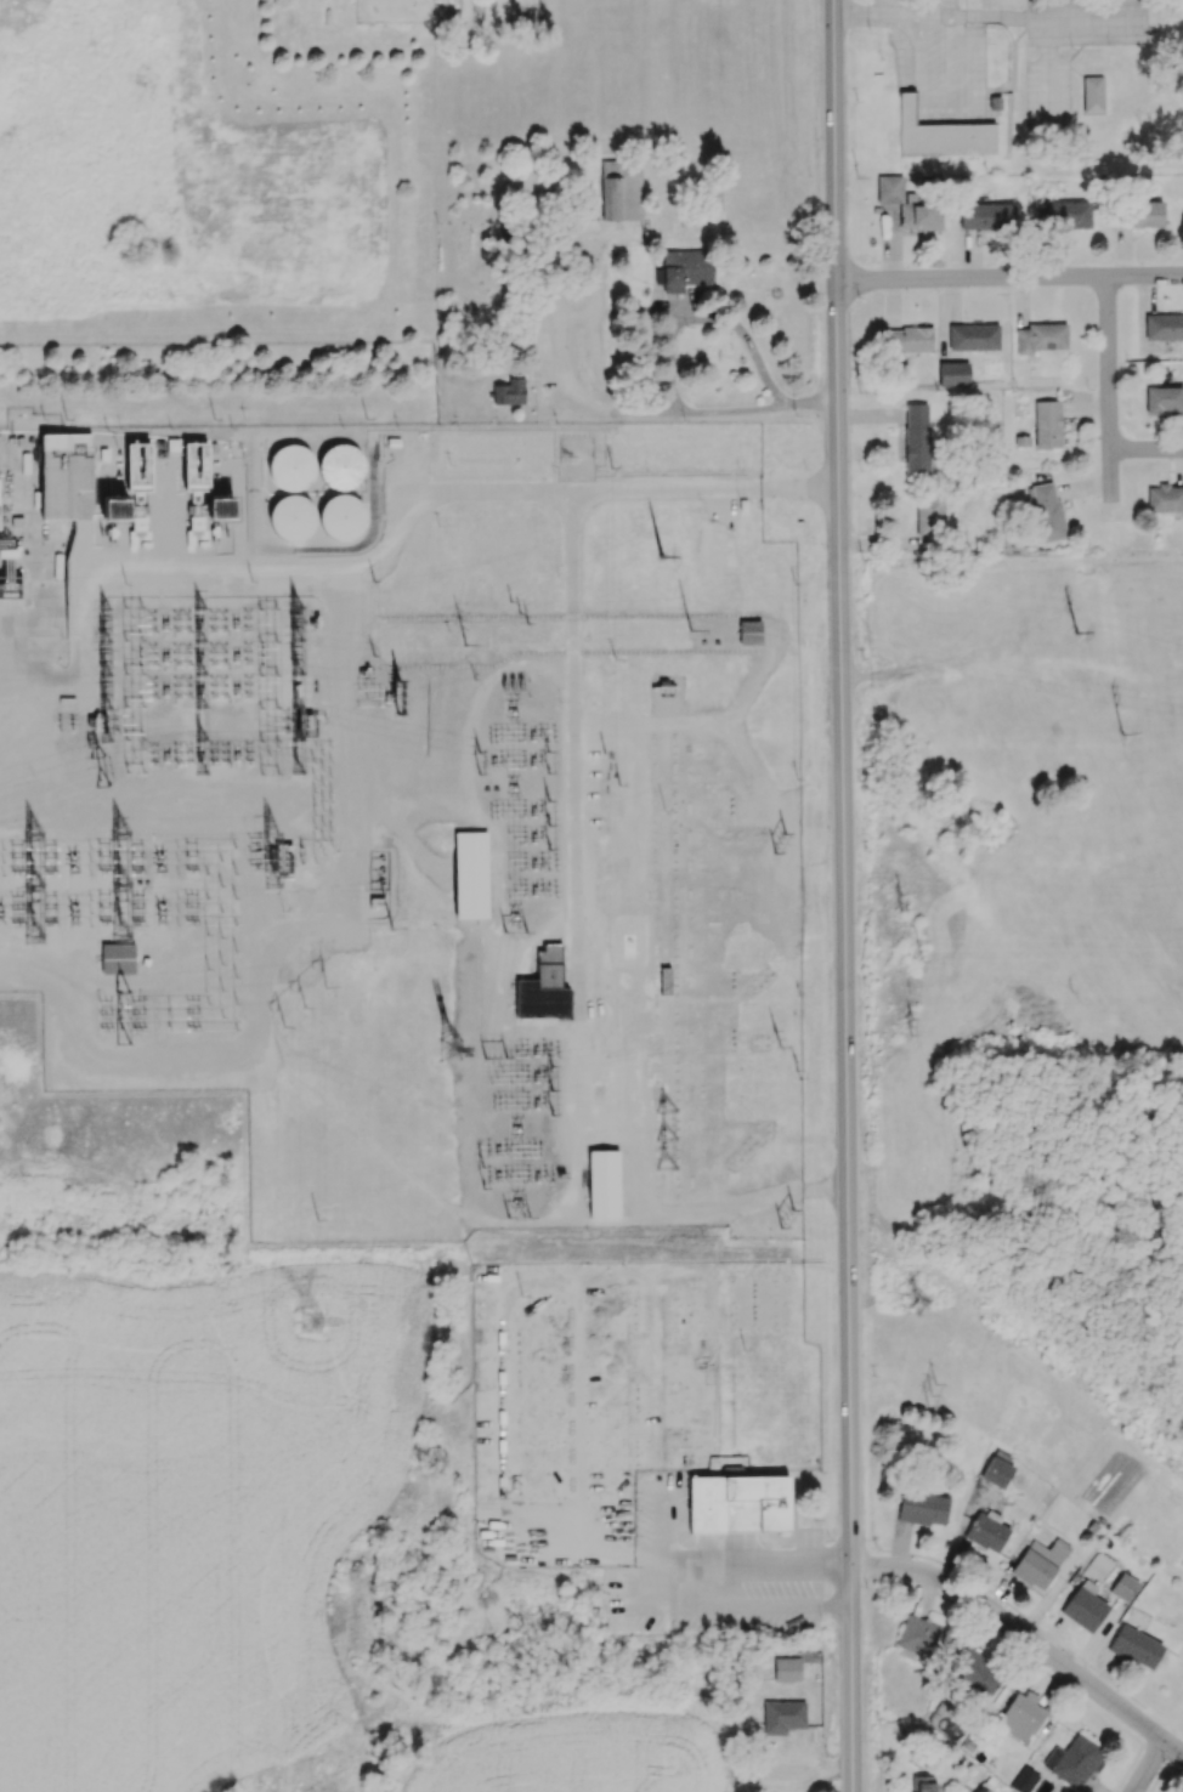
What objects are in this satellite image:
road: (989, 18)
building: (1092, 93)
building: (940, 134)
building: (621, 189)
building: (907, 204)
building: (1068, 214)
building: (1137, 215)
building: (986, 216)
building: (683, 270)
road: (1011, 280)
building: (1164, 327)
building: (973, 336)
building: (1041, 338)
building: (907, 339)
road: (669, 373)
building: (953, 374)
building: (509, 392)
building: (1162, 399)
road: (1110, 401)
road: (808, 409)
building: (1046, 424)
building: (916, 438)
road: (1147, 450)
building: (343, 465)
building: (194, 466)
building: (290, 467)
building: (63, 472)
building: (1164, 498)
road: (451, 499)
building: (219, 507)
building: (114, 509)
building: (1047, 512)
building: (290, 516)
building: (343, 516)
building: (929, 520)
building: (6, 548)
power tower: (664, 557)
power tower: (525, 614)
power tower: (691, 630)
building: (749, 633)
power tower: (1082, 635)
power tower: (465, 645)
power tower: (1121, 735)
power substation: (343, 817)
power tower: (787, 843)
building: (470, 874)
road: (845, 895)
power tower: (906, 901)
power tower: (390, 931)
power tower: (921, 952)
building: (117, 957)
road: (584, 966)
building: (543, 987)
power tower: (304, 1003)
power tower: (918, 1030)
power tower: (451, 1054)
power tower: (800, 1066)
power tower: (799, 1220)
power tower: (526, 1302)
power tower: (919, 1304)
power tower: (315, 1323)
power tower: (752, 1351)
power tower: (944, 1396)
power tower: (1037, 1451)
building: (997, 1469)
building: (737, 1503)
building: (922, 1508)
crop: (188, 1510)
building: (986, 1531)
building: (1038, 1561)
building: (1099, 1567)
road: (766, 1569)
building: (1123, 1586)
building: (1083, 1607)
building: (922, 1637)
road: (1028, 1641)
building: (1134, 1646)
building: (786, 1668)
building: (975, 1671)
building: (782, 1716)
building: (1020, 1717)
building: (1072, 1760)
road: (1151, 1770)
building: (1024, 1779)
building: (922, 1784)

